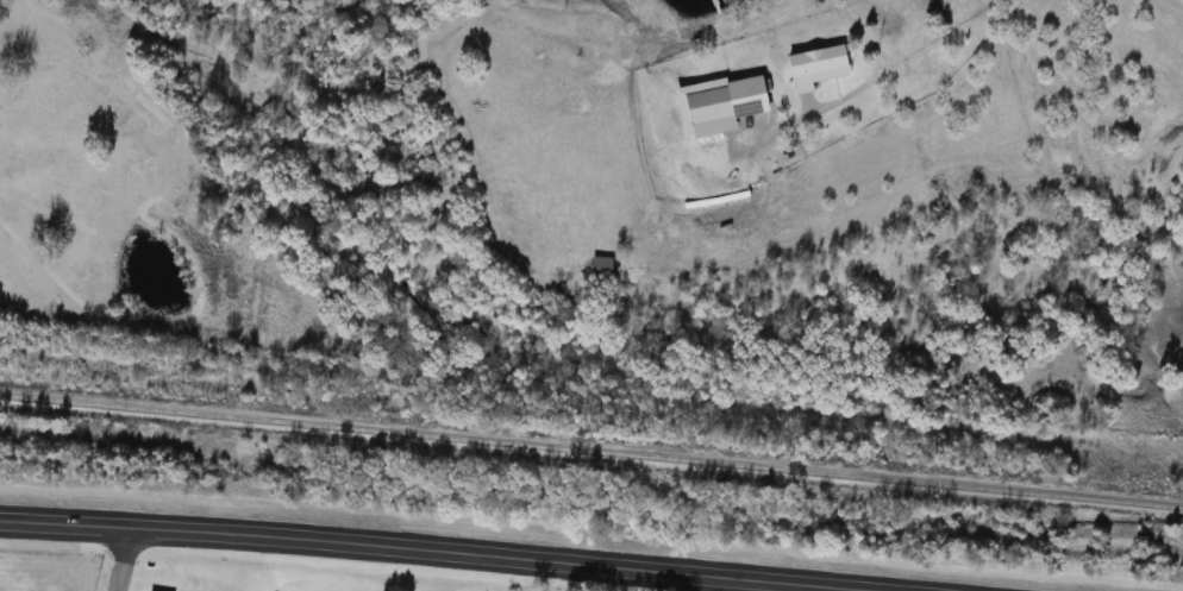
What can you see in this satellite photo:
building: (816, 67)
road: (880, 70)
building: (758, 98)
building: (708, 112)
railway: (590, 446)
road: (432, 551)
road: (121, 560)

